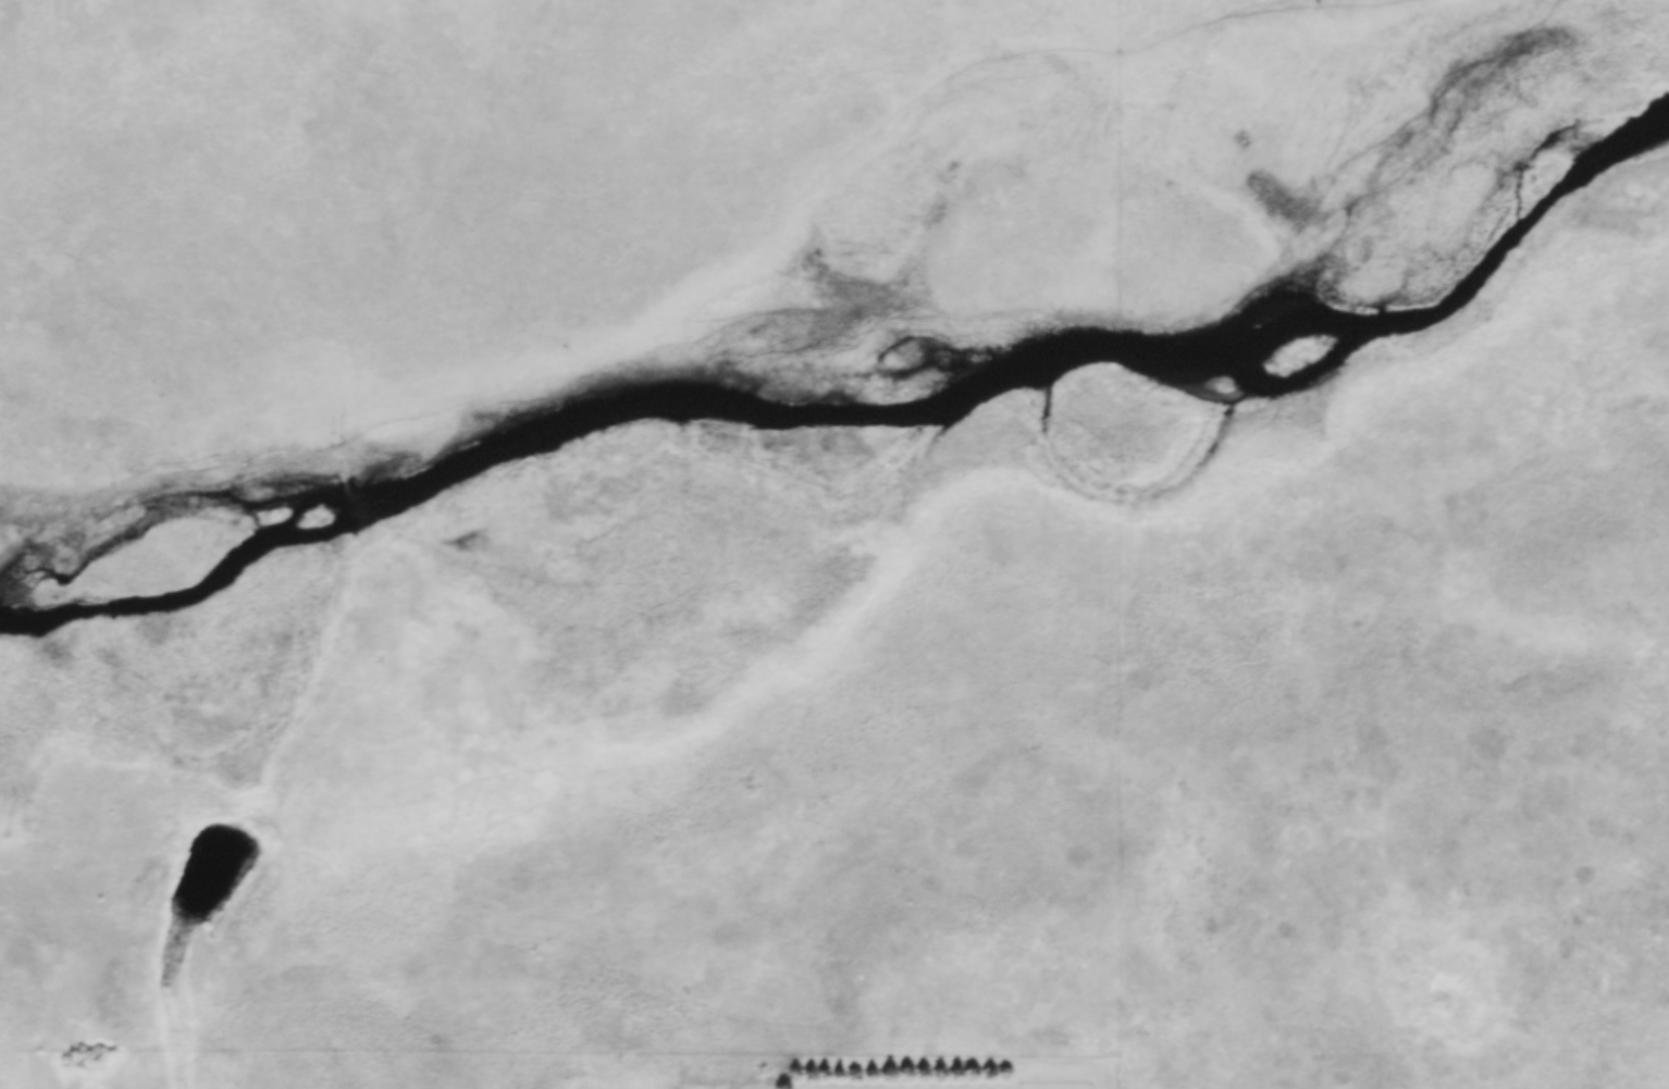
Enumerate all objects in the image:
road: (1053, 1056)

